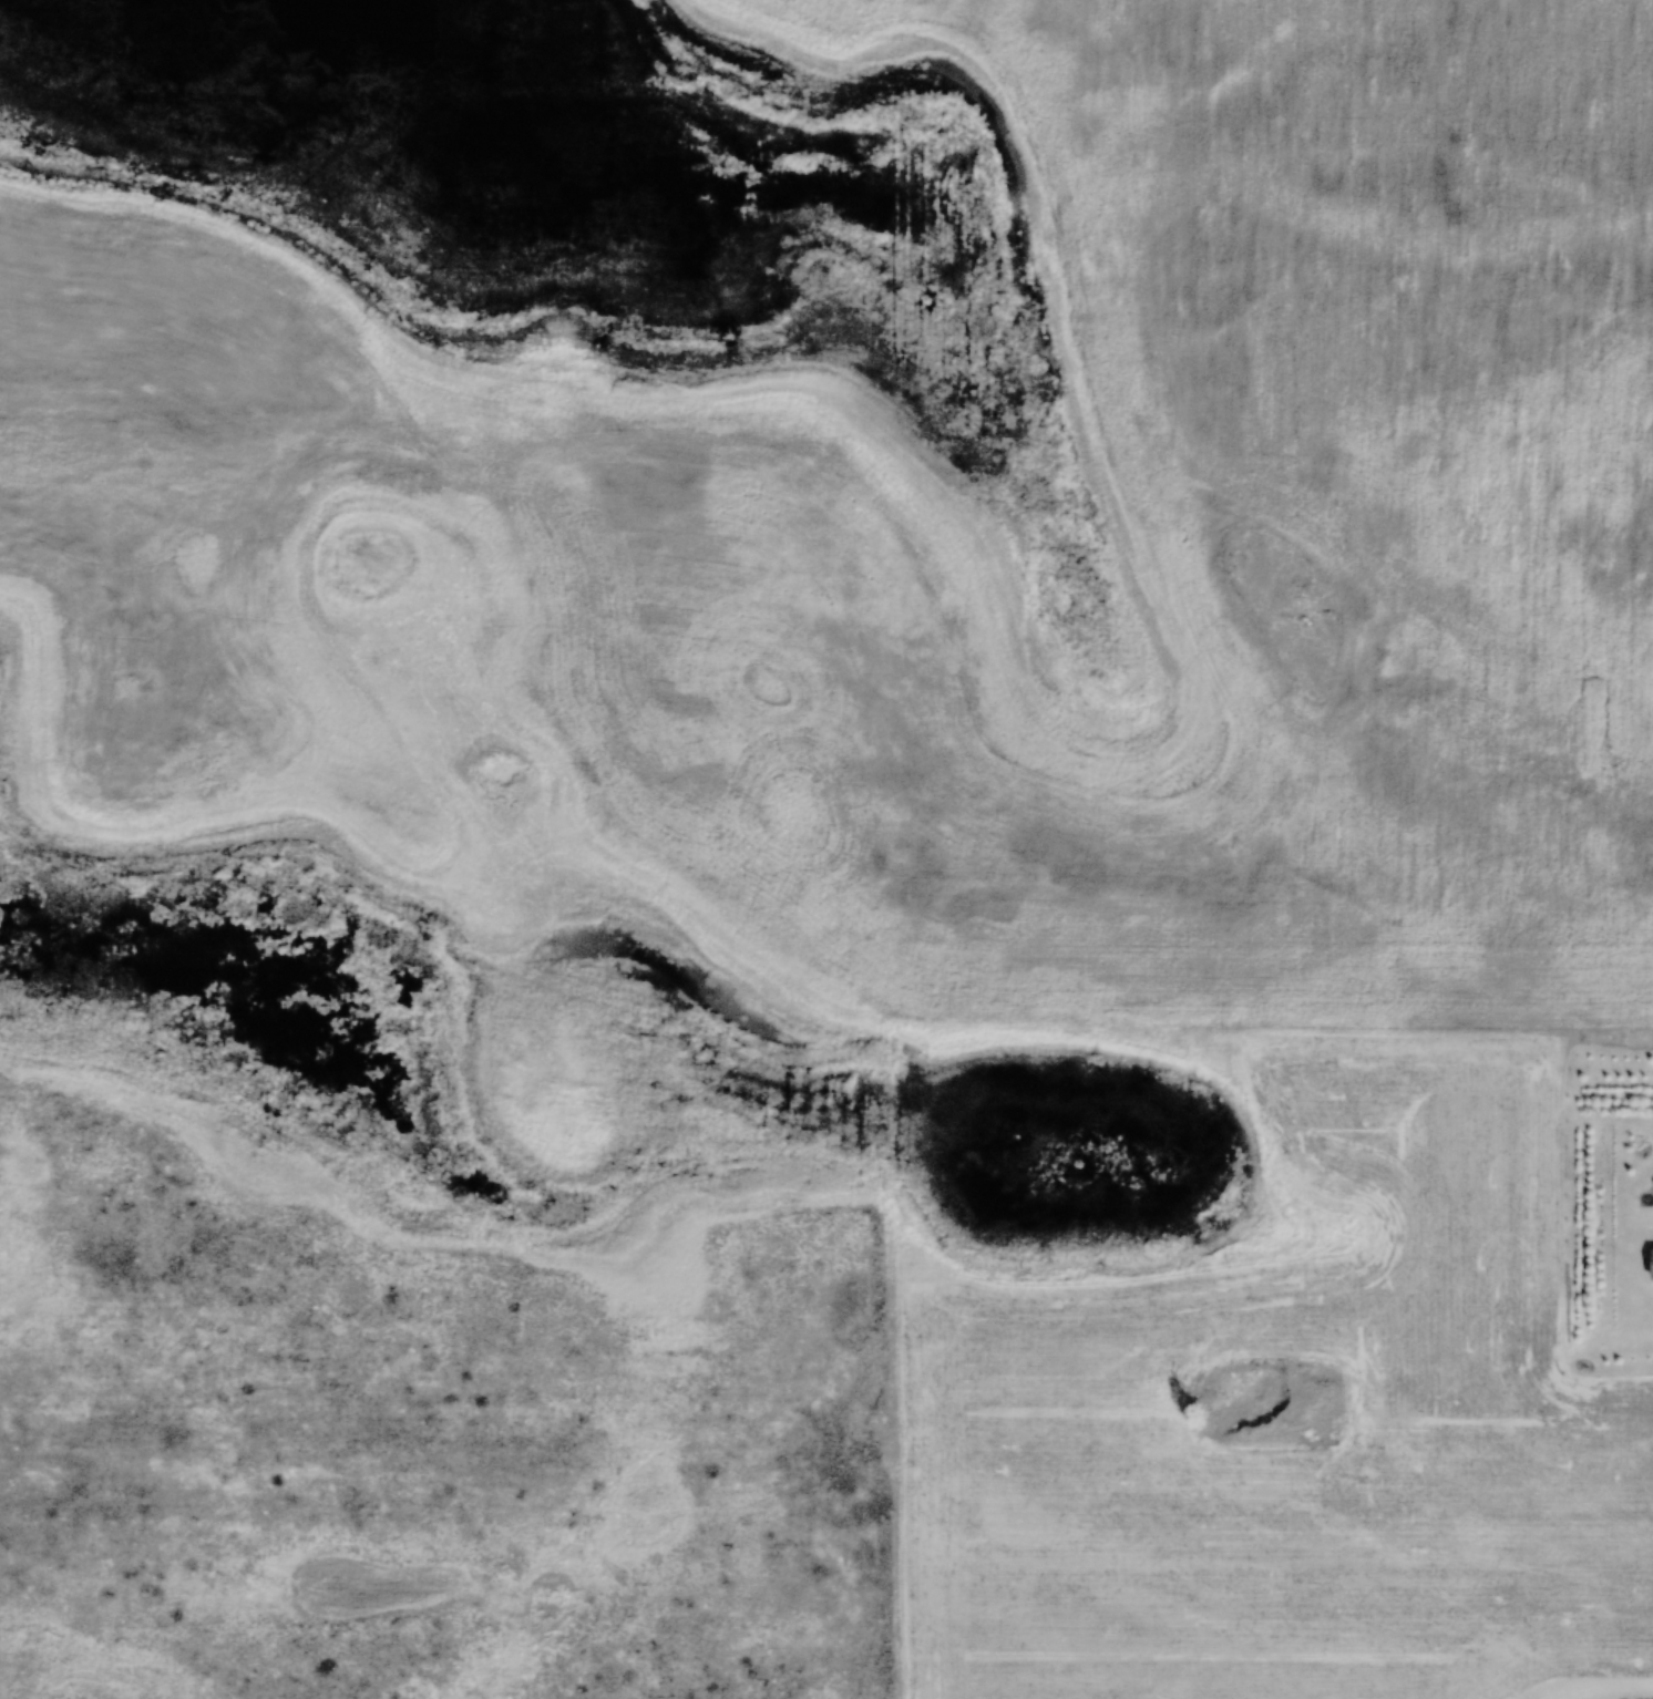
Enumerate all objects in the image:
building: (1651, 1263)

